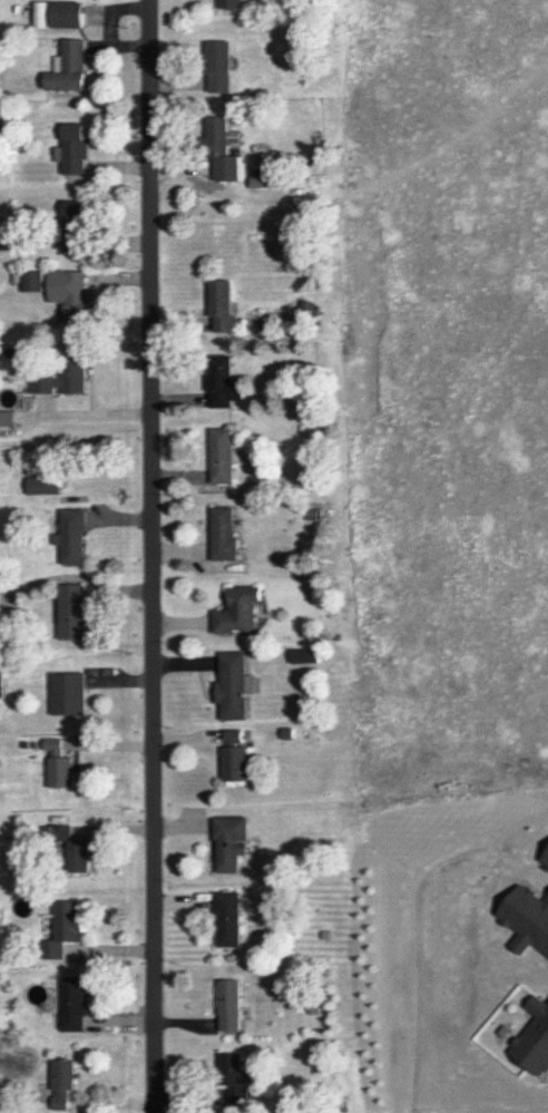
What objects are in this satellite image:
building: (231, 3)
building: (69, 13)
building: (221, 65)
building: (71, 68)
building: (3, 129)
building: (218, 137)
building: (77, 149)
building: (76, 207)
building: (76, 233)
building: (33, 281)
building: (70, 291)
building: (224, 304)
building: (306, 309)
building: (65, 375)
building: (222, 381)
building: (223, 455)
building: (45, 485)
building: (225, 533)
building: (74, 537)
road: (153, 556)
building: (2, 597)
building: (241, 608)
building: (72, 611)
building: (311, 632)
building: (307, 655)
building: (0, 681)
building: (235, 685)
building: (69, 693)
building: (290, 732)
building: (234, 736)
building: (55, 744)
building: (235, 761)
building: (61, 771)
building: (58, 831)
building: (231, 841)
building: (81, 857)
building: (231, 917)
building: (71, 920)
building: (51, 949)
building: (75, 1003)
building: (231, 1005)
building: (233, 1073)
building: (66, 1082)

